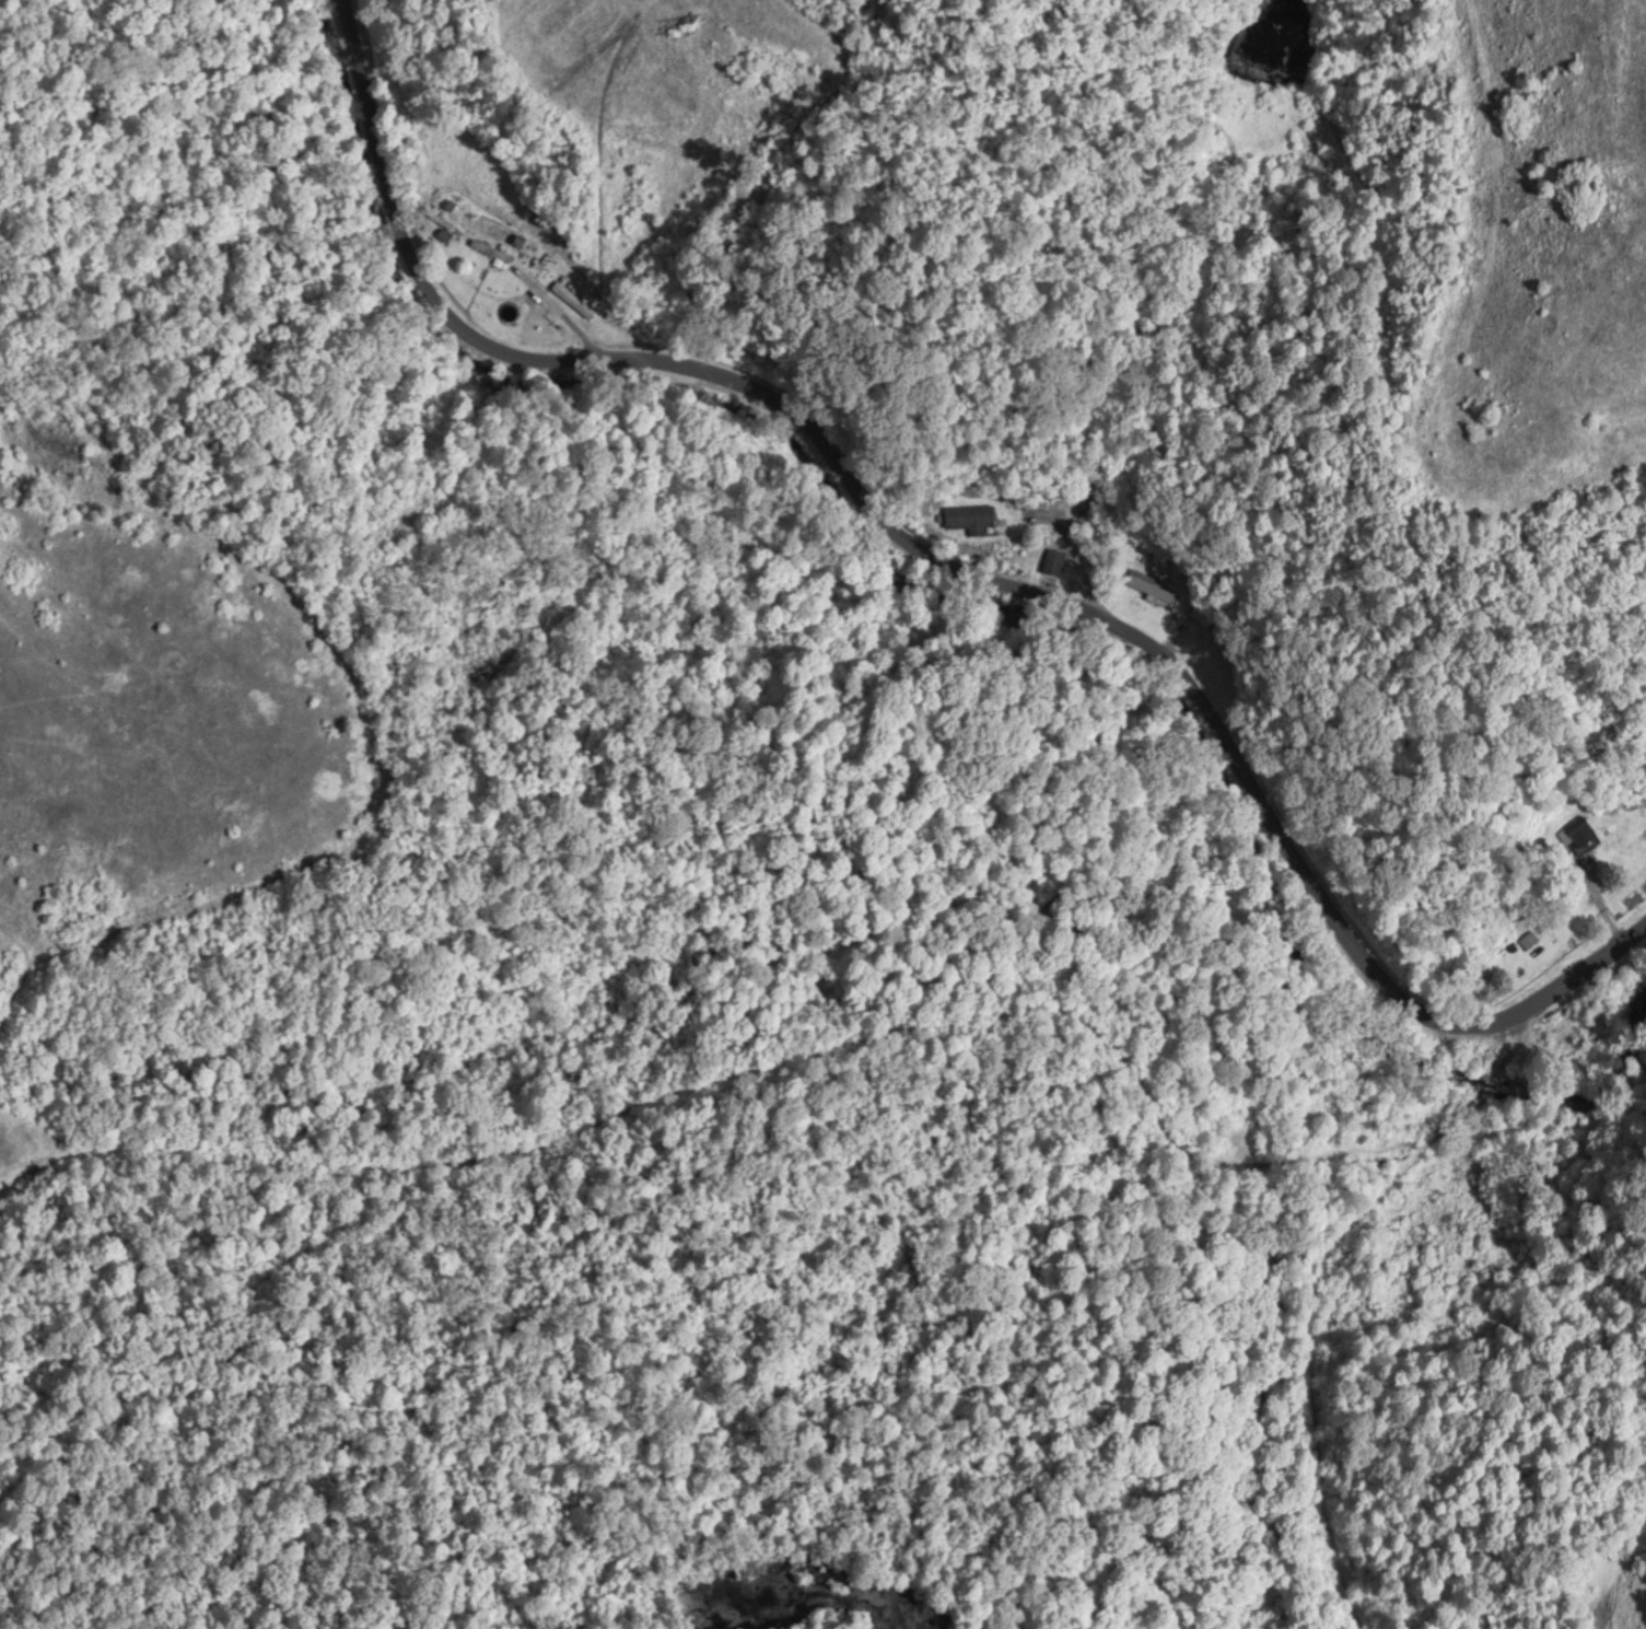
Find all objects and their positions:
building: (970, 514)
road: (1005, 532)
building: (1054, 559)
building: (1151, 583)
building: (1201, 612)
building: (1583, 827)
building: (1530, 936)

